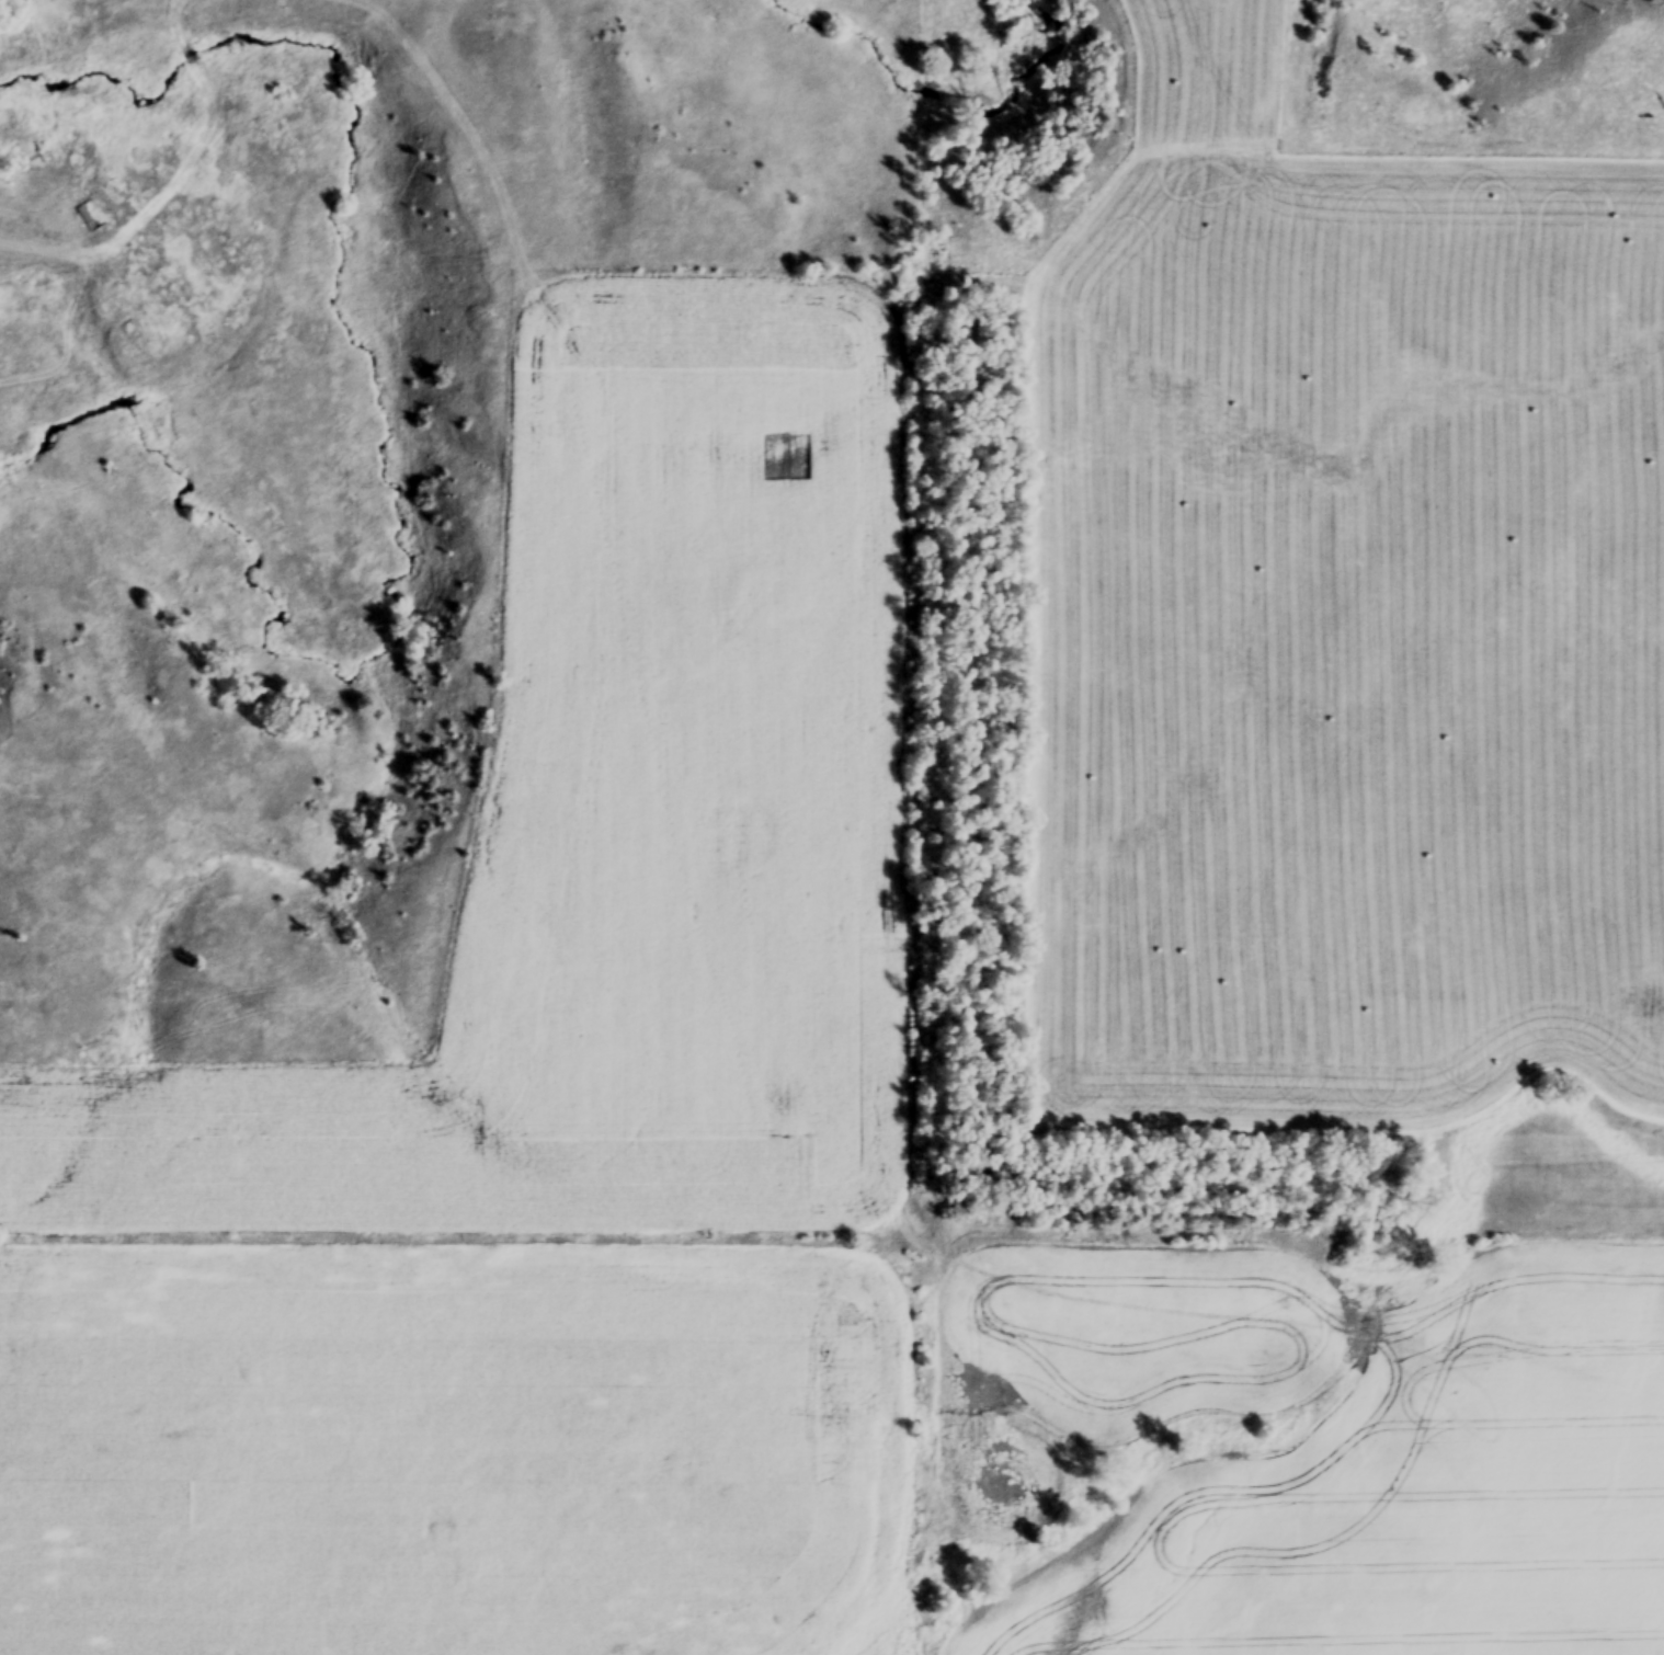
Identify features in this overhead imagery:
building: (87, 220)

